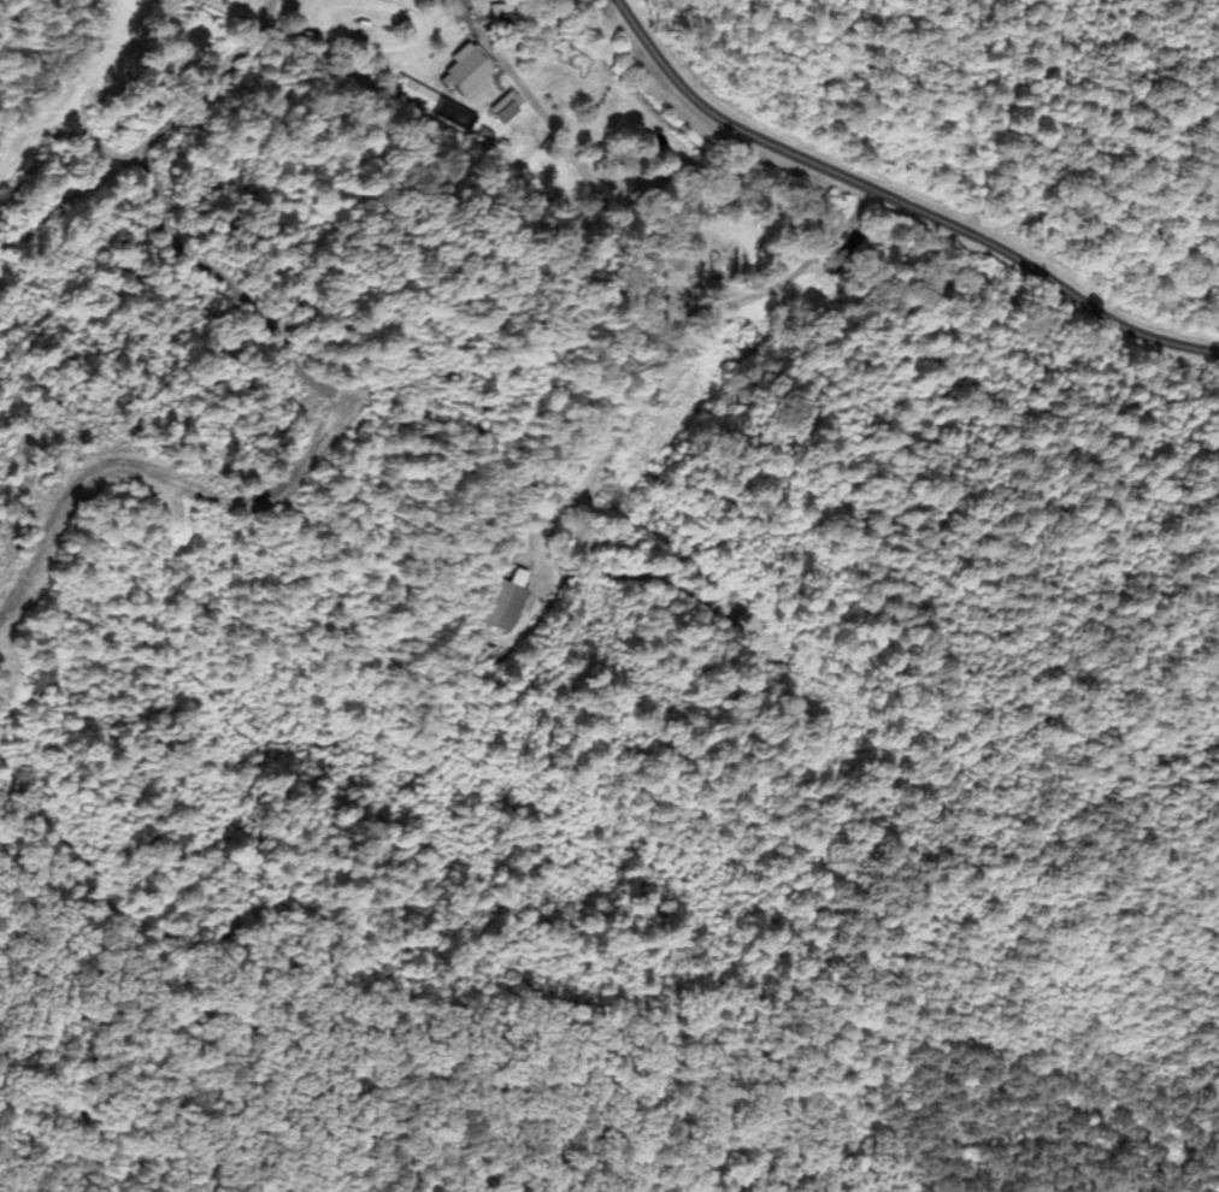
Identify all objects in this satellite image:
building: (470, 69)
building: (510, 105)
road: (900, 199)
building: (510, 602)

